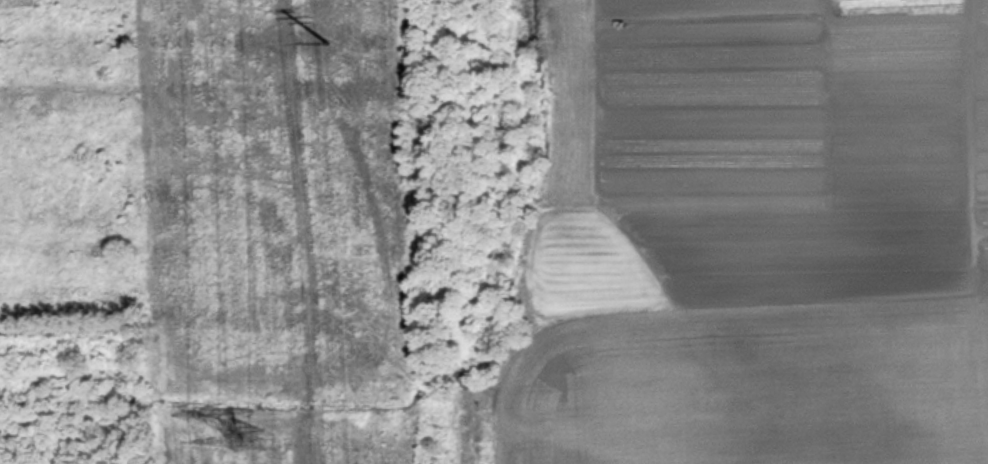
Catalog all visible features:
power tower: (331, 19)
power tower: (248, 441)

